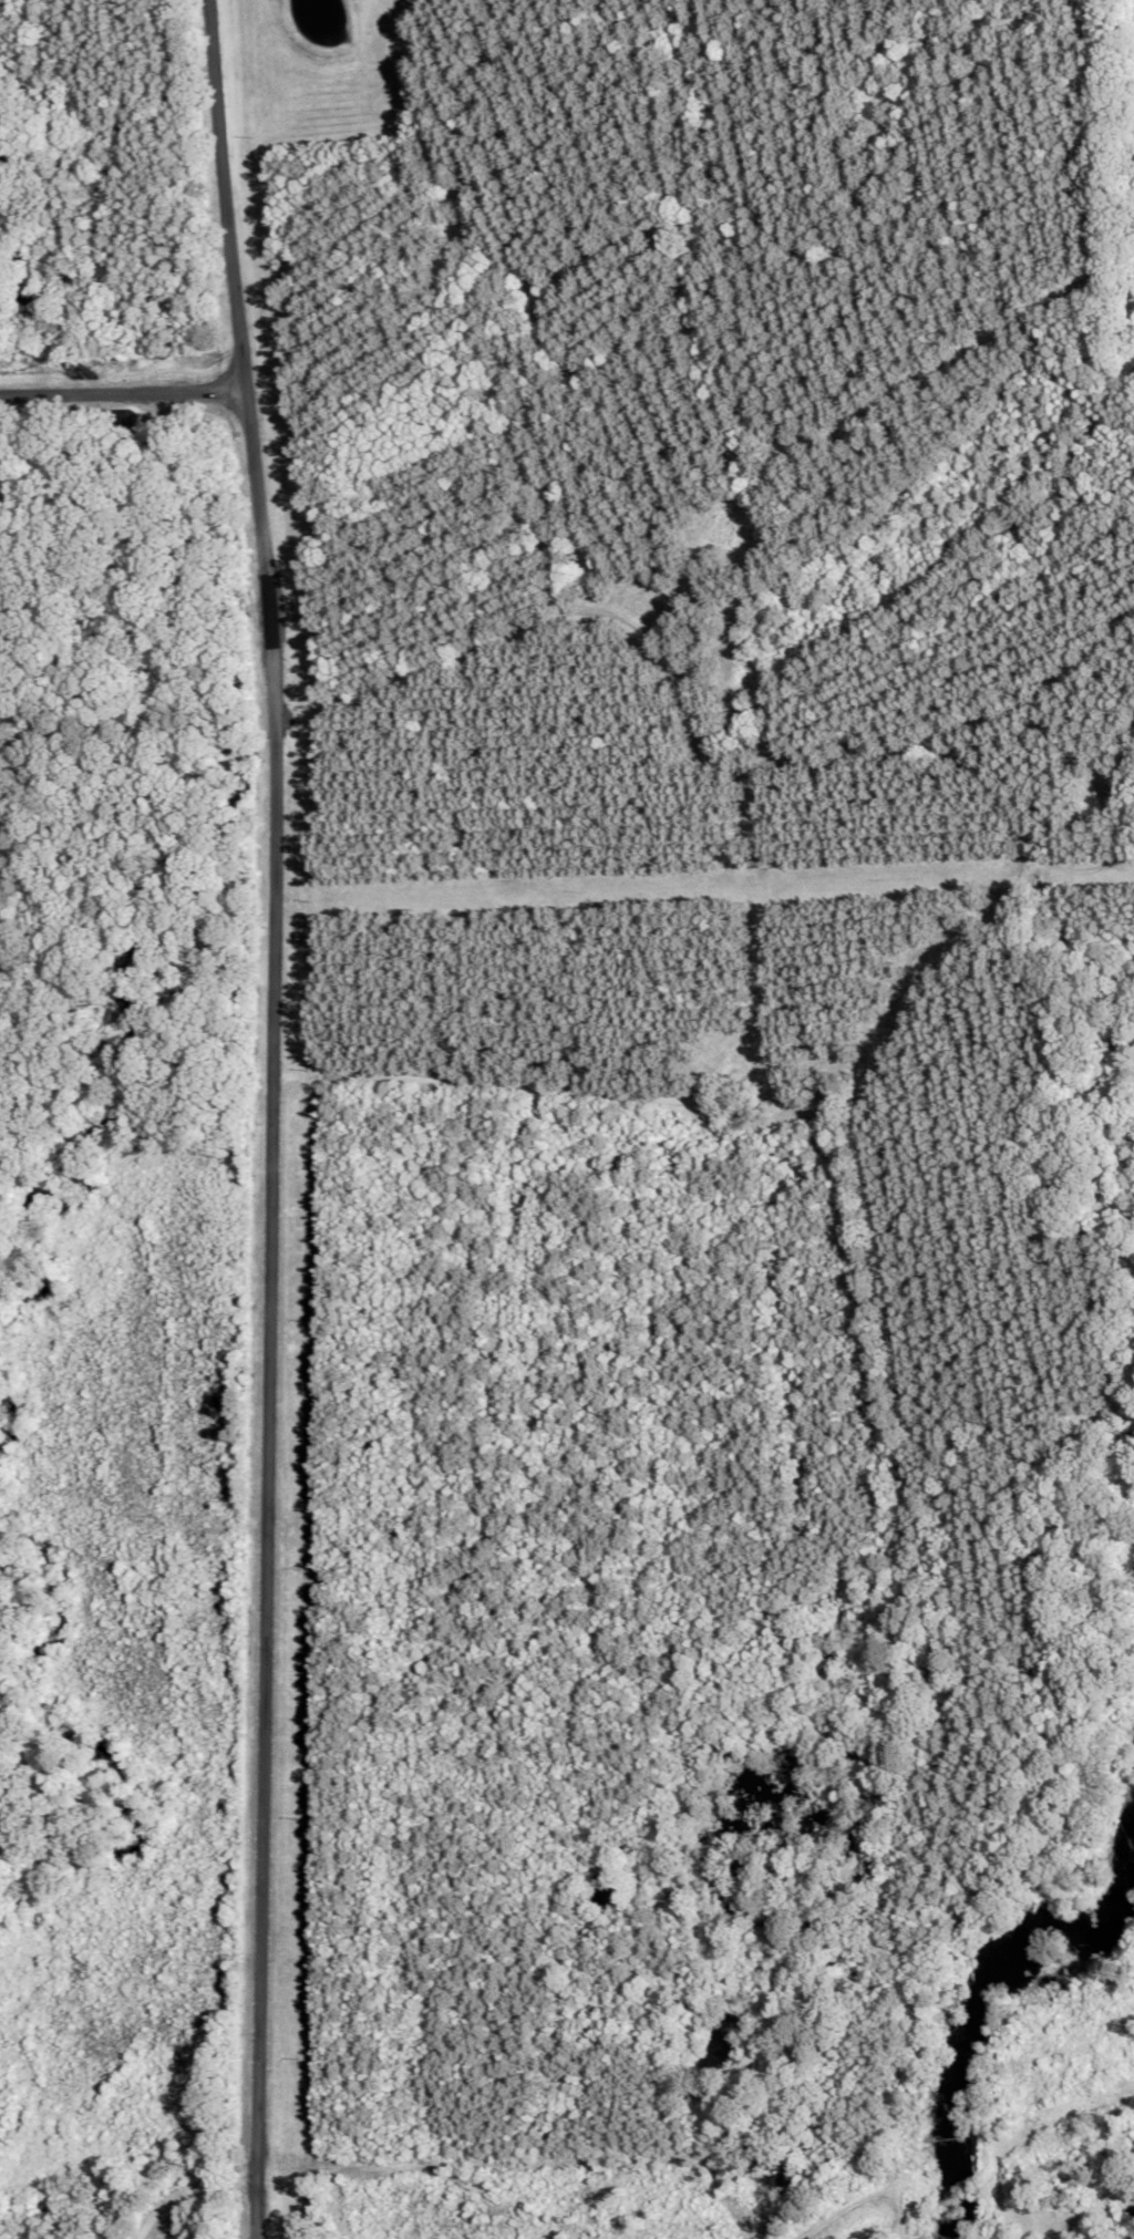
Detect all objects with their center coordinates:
road: (122, 395)
road: (274, 1117)
river: (973, 2009)

